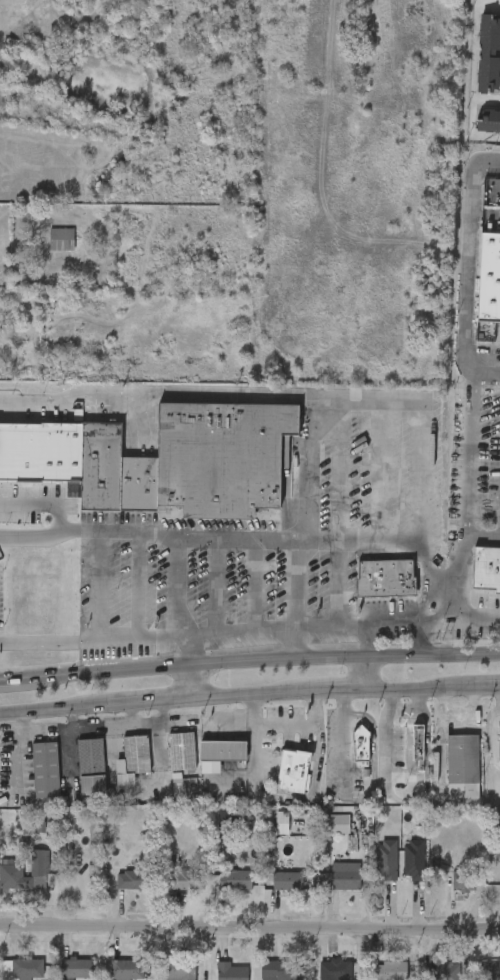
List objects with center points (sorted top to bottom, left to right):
building: (489, 53)
building: (488, 119)
road: (308, 193)
building: (62, 239)
road: (456, 268)
building: (489, 278)
road: (157, 392)
building: (40, 452)
building: (221, 458)
road: (380, 470)
building: (114, 473)
road: (312, 496)
road: (466, 498)
road: (43, 502)
road: (338, 512)
road: (50, 535)
road: (367, 540)
building: (486, 568)
building: (385, 578)
road: (295, 582)
road: (442, 582)
road: (256, 583)
road: (138, 584)
road: (216, 585)
road: (176, 587)
building: (371, 591)
road: (394, 623)
road: (348, 624)
road: (216, 631)
road: (188, 652)
road: (259, 664)
road: (363, 674)
road: (10, 683)
road: (190, 684)
road: (411, 686)
road: (480, 686)
road: (328, 689)
road: (242, 694)
road: (141, 702)
road: (401, 708)
road: (45, 709)
building: (418, 741)
building: (222, 749)
building: (180, 750)
building: (403, 755)
building: (492, 757)
building: (132, 758)
building: (346, 760)
building: (167, 764)
building: (207, 765)
building: (90, 766)
building: (462, 766)
building: (45, 769)
building: (76, 769)
building: (292, 770)
building: (119, 772)
building: (448, 780)
building: (31, 783)
building: (279, 784)
road: (490, 785)
road: (397, 792)
building: (163, 797)
building: (78, 798)
building: (336, 823)
road: (496, 827)
building: (322, 837)
building: (11, 870)
building: (345, 876)
building: (133, 878)
building: (187, 879)
building: (235, 879)
building: (288, 880)
building: (463, 881)
building: (17, 884)
building: (331, 889)
building: (368, 889)
building: (115, 893)
building: (173, 893)
building: (221, 893)
building: (273, 894)
building: (449, 894)
road: (250, 920)
building: (27, 967)
building: (76, 967)
building: (126, 969)
building: (175, 969)
building: (334, 969)
building: (281, 970)
building: (390, 970)
building: (230, 971)
building: (445, 971)
building: (489, 971)
building: (62, 975)
building: (14, 976)
building: (211, 977)
building: (432, 977)
building: (477, 977)

